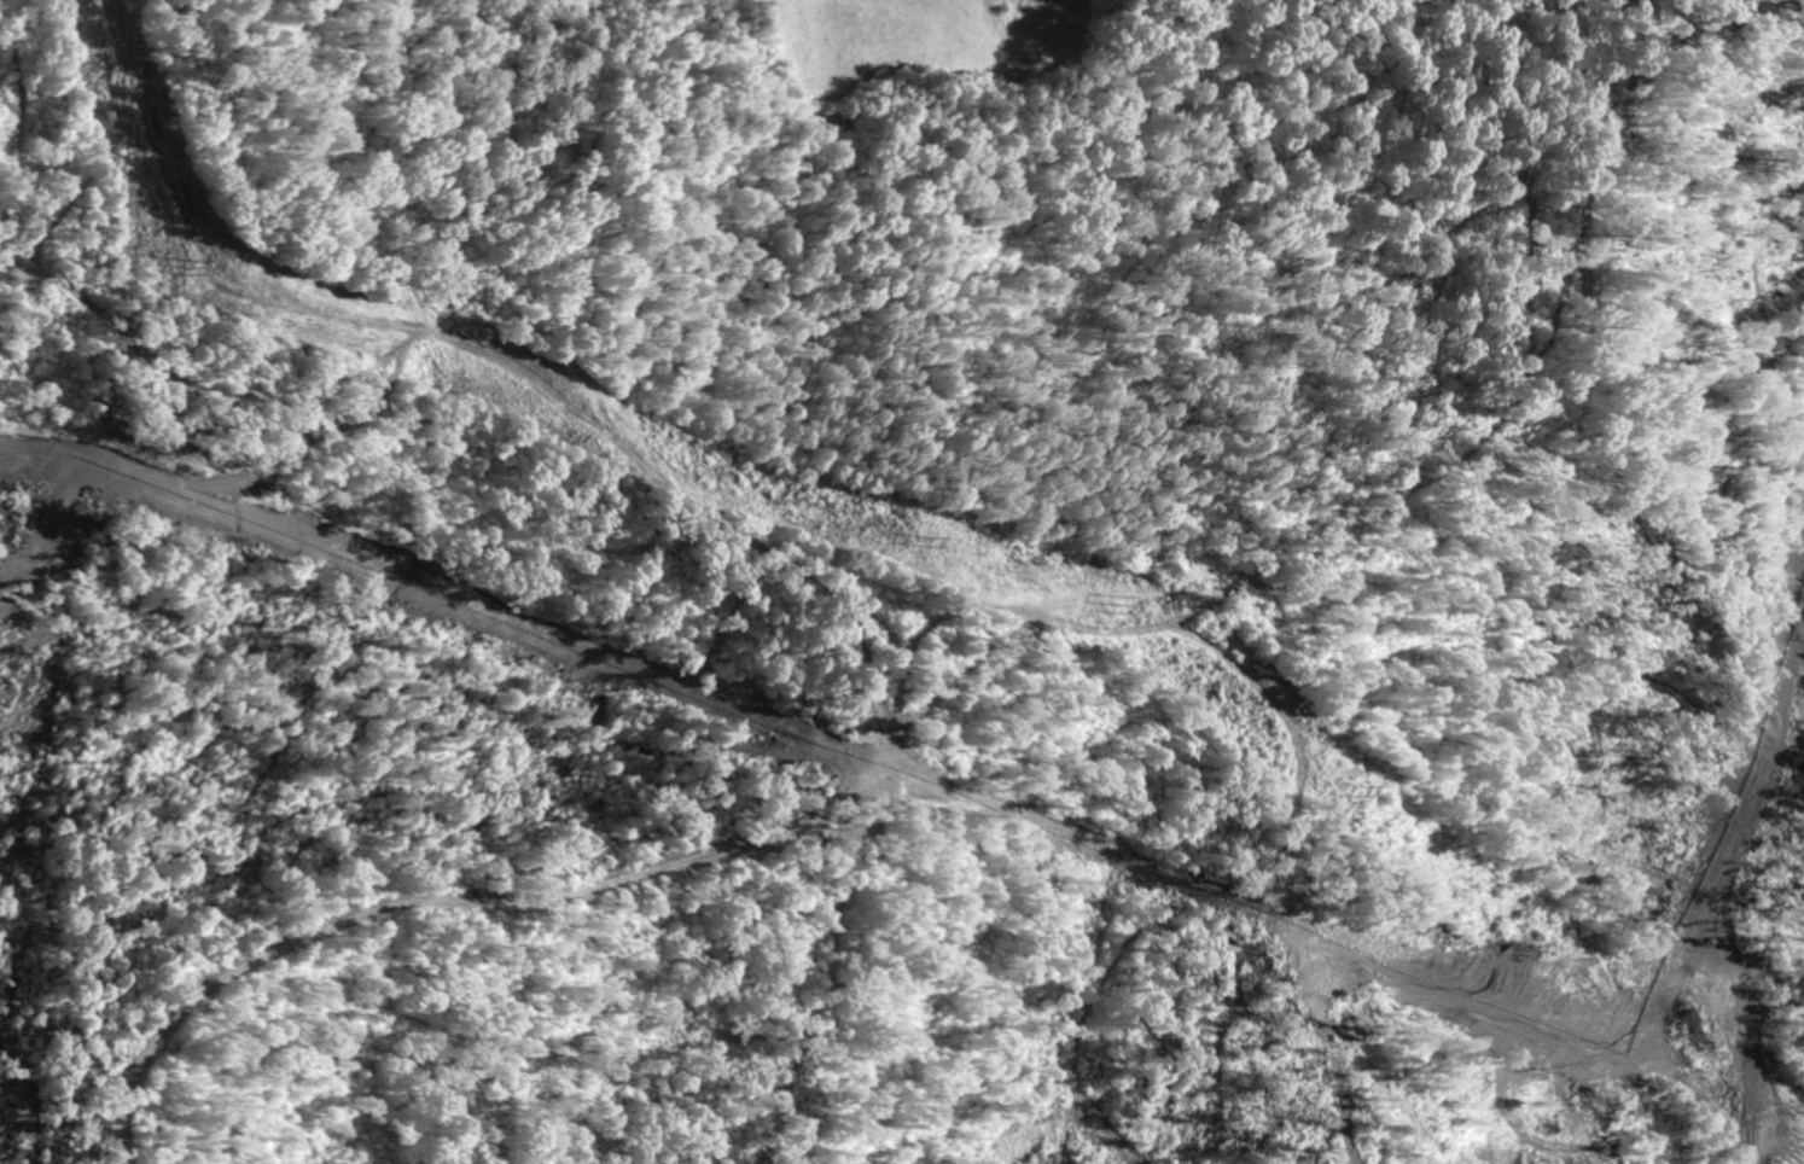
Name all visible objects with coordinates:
power tower: (176, 261)
power tower: (924, 531)
power tower: (1102, 595)
power tower: (1348, 782)

